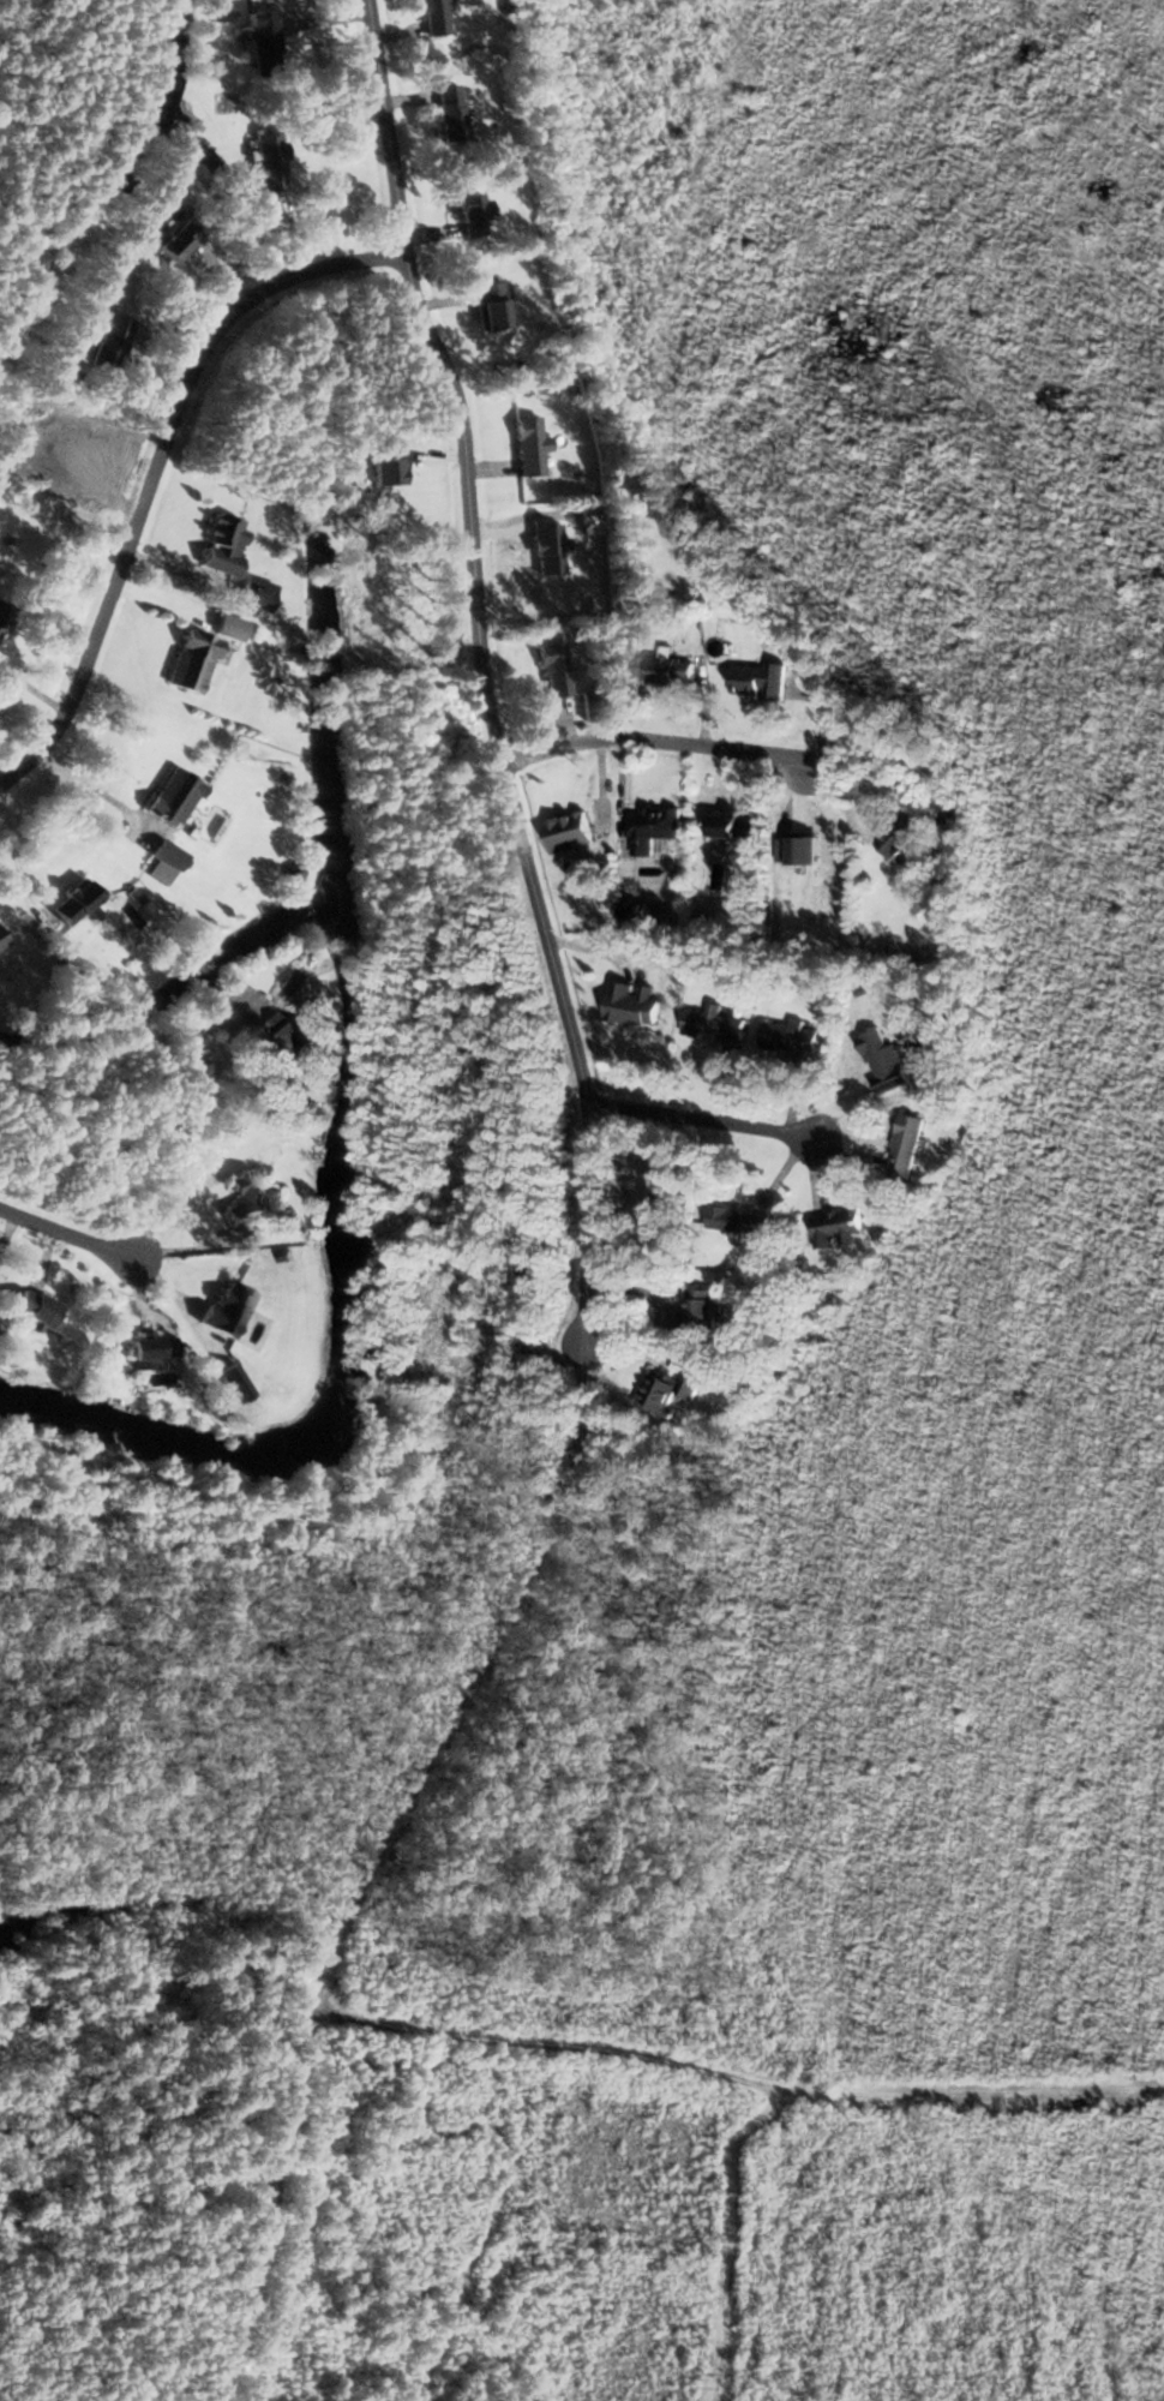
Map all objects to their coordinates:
building: (431, 16)
building: (260, 42)
building: (446, 113)
building: (203, 160)
building: (266, 161)
building: (467, 215)
building: (172, 241)
building: (486, 306)
building: (107, 345)
building: (526, 447)
road: (151, 471)
building: (218, 545)
building: (2, 615)
road: (475, 654)
building: (187, 663)
building: (661, 669)
building: (551, 671)
building: (755, 681)
building: (588, 707)
road: (659, 748)
road: (91, 788)
building: (169, 797)
building: (730, 825)
building: (649, 827)
building: (565, 831)
building: (898, 833)
road: (13, 855)
building: (161, 862)
building: (70, 900)
building: (632, 910)
building: (1, 944)
building: (629, 1004)
building: (712, 1023)
building: (788, 1036)
building: (293, 1038)
building: (187, 1054)
road: (702, 1126)
road: (186, 1131)
building: (902, 1145)
building: (656, 1192)
building: (241, 1197)
building: (736, 1220)
building: (834, 1226)
road: (67, 1241)
building: (30, 1307)
building: (696, 1309)
building: (148, 1347)
building: (662, 1390)

